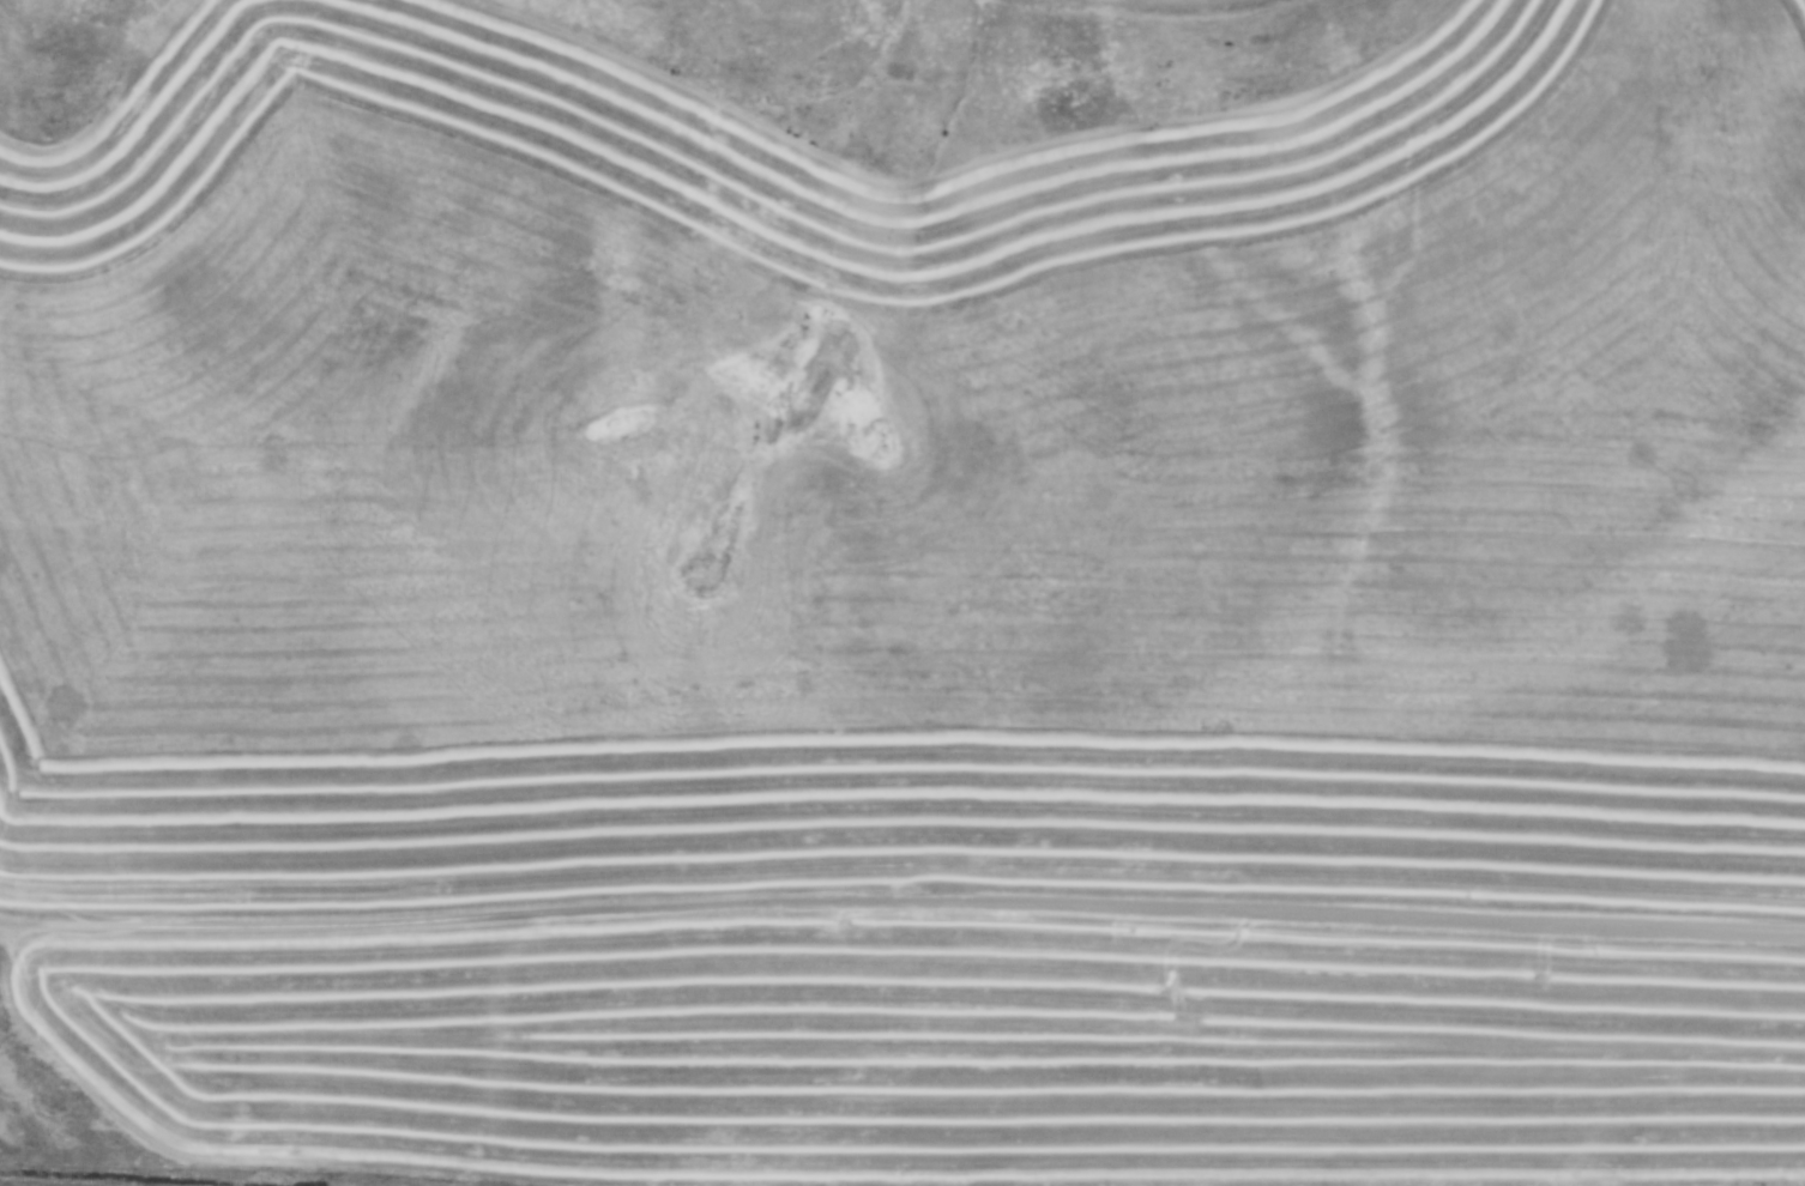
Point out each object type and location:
road: (901, 895)

